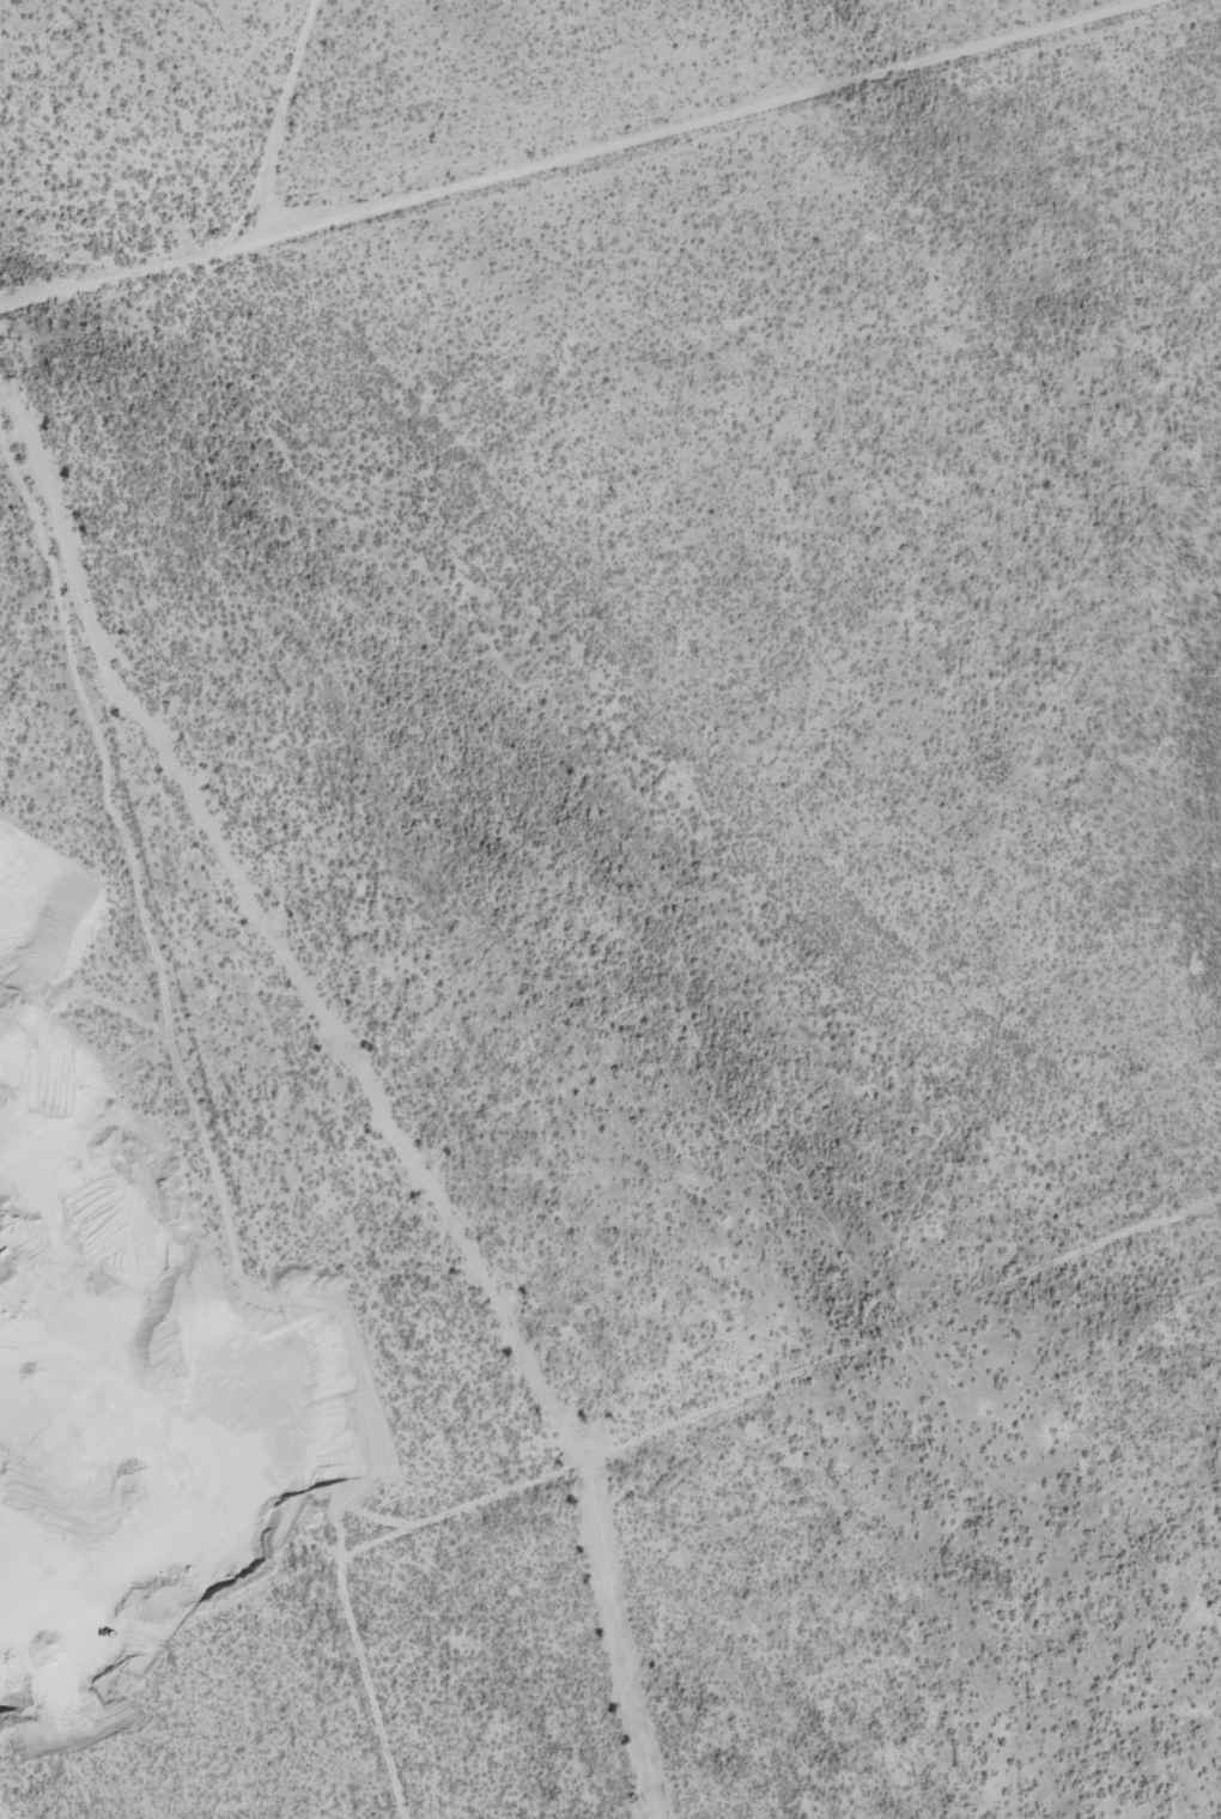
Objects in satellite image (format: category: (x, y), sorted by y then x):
road: (678, 128)
road: (242, 239)
road: (205, 1087)
road: (607, 1435)
road: (943, 1591)

